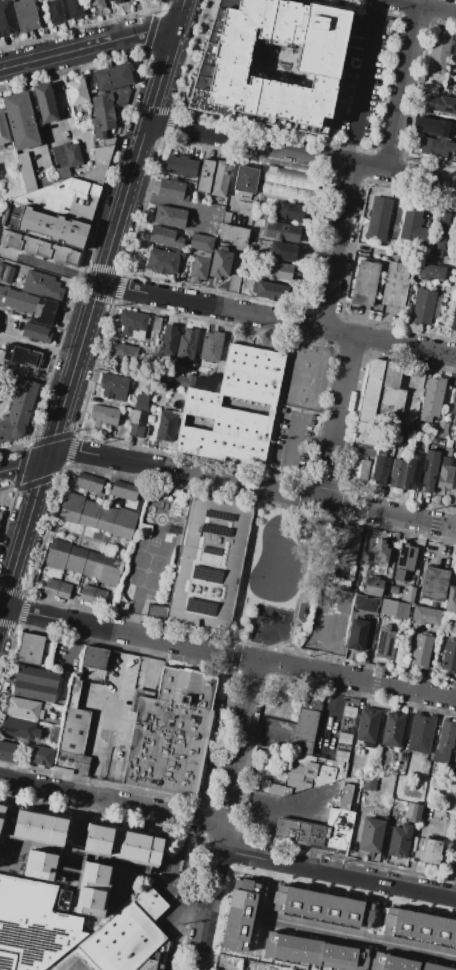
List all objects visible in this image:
building: (109, 0)
building: (117, 1)
road: (404, 1)
building: (97, 3)
road: (425, 6)
building: (74, 8)
building: (54, 11)
building: (25, 15)
building: (6, 18)
road: (88, 45)
building: (454, 50)
building: (440, 53)
building: (318, 58)
building: (113, 77)
road: (363, 81)
road: (404, 88)
building: (431, 88)
building: (455, 89)
building: (76, 92)
building: (45, 102)
road: (57, 104)
building: (442, 104)
building: (20, 120)
building: (103, 120)
road: (35, 121)
building: (432, 126)
building: (3, 131)
building: (437, 147)
building: (72, 154)
road: (301, 154)
building: (181, 166)
building: (26, 171)
building: (205, 176)
building: (220, 178)
building: (246, 179)
building: (287, 185)
building: (173, 190)
building: (71, 191)
building: (290, 212)
building: (170, 216)
building: (226, 217)
building: (216, 219)
building: (378, 219)
building: (44, 225)
building: (414, 226)
building: (282, 232)
building: (234, 234)
building: (440, 234)
building: (166, 237)
building: (452, 241)
building: (201, 242)
building: (39, 248)
road: (339, 248)
building: (282, 252)
building: (162, 261)
building: (220, 263)
road: (49, 267)
building: (199, 268)
building: (278, 271)
building: (428, 271)
building: (5, 273)
building: (364, 283)
building: (41, 284)
building: (395, 284)
building: (270, 290)
building: (17, 300)
road: (91, 306)
building: (423, 307)
building: (44, 311)
building: (0, 316)
building: (454, 319)
road: (277, 321)
building: (156, 323)
building: (133, 324)
building: (36, 333)
building: (169, 341)
building: (186, 345)
building: (211, 346)
road: (41, 347)
building: (122, 354)
building: (22, 356)
park: (305, 373)
building: (186, 381)
building: (207, 382)
building: (114, 387)
building: (434, 395)
building: (201, 399)
building: (379, 400)
building: (454, 410)
building: (18, 411)
building: (103, 416)
building: (139, 416)
road: (336, 419)
building: (166, 427)
building: (439, 430)
building: (450, 435)
parking lot: (292, 444)
building: (448, 444)
building: (381, 450)
building: (367, 452)
building: (447, 452)
road: (289, 455)
traffic signals: (46, 458)
building: (446, 461)
building: (359, 467)
building: (380, 470)
building: (404, 473)
building: (433, 473)
building: (444, 478)
building: (82, 481)
road: (226, 481)
building: (95, 485)
building: (118, 489)
building: (130, 492)
building: (455, 498)
road: (255, 504)
building: (71, 507)
building: (89, 513)
building: (0, 514)
building: (106, 519)
building: (124, 523)
road: (255, 527)
building: (144, 528)
park: (156, 542)
road: (449, 542)
building: (344, 548)
road: (258, 551)
building: (379, 552)
building: (57, 554)
road: (250, 555)
building: (406, 556)
building: (76, 559)
building: (92, 564)
building: (208, 564)
building: (110, 570)
park: (147, 571)
building: (398, 575)
park: (279, 577)
building: (434, 583)
road: (302, 585)
building: (51, 586)
building: (373, 587)
building: (63, 590)
building: (87, 593)
building: (408, 595)
road: (2, 597)
building: (99, 597)
building: (451, 600)
building: (366, 604)
building: (121, 606)
building: (395, 609)
building: (426, 615)
parking lot: (329, 619)
road: (234, 624)
road: (325, 635)
building: (356, 635)
building: (385, 645)
building: (30, 648)
building: (421, 651)
road: (297, 652)
road: (228, 654)
building: (449, 655)
building: (94, 657)
building: (35, 683)
building: (186, 687)
building: (73, 692)
road: (334, 705)
building: (23, 708)
building: (349, 711)
building: (367, 726)
building: (19, 728)
building: (392, 729)
building: (74, 731)
building: (304, 731)
building: (421, 733)
building: (344, 738)
building: (445, 740)
building: (167, 747)
road: (99, 748)
building: (455, 752)
building: (26, 754)
building: (341, 756)
building: (71, 763)
building: (451, 771)
building: (306, 773)
building: (271, 775)
building: (369, 782)
building: (433, 783)
building: (413, 812)
building: (1, 813)
road: (291, 813)
road: (225, 815)
building: (40, 826)
building: (321, 827)
road: (315, 834)
building: (372, 835)
road: (228, 837)
building: (400, 840)
building: (123, 845)
building: (430, 851)
road: (311, 856)
building: (39, 865)
building: (93, 887)
building: (33, 903)
road: (263, 904)
building: (321, 906)
building: (238, 914)
building: (418, 927)
building: (127, 935)
road: (358, 936)
building: (34, 943)
building: (313, 952)
building: (74, 961)
building: (401, 963)
building: (138, 969)

